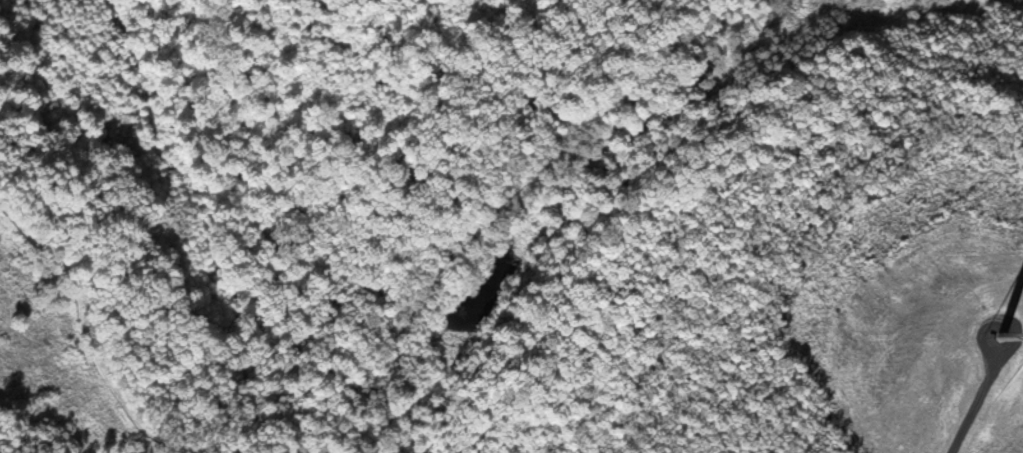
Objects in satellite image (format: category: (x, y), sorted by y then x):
wind turbine: (998, 336)
road: (422, 387)

